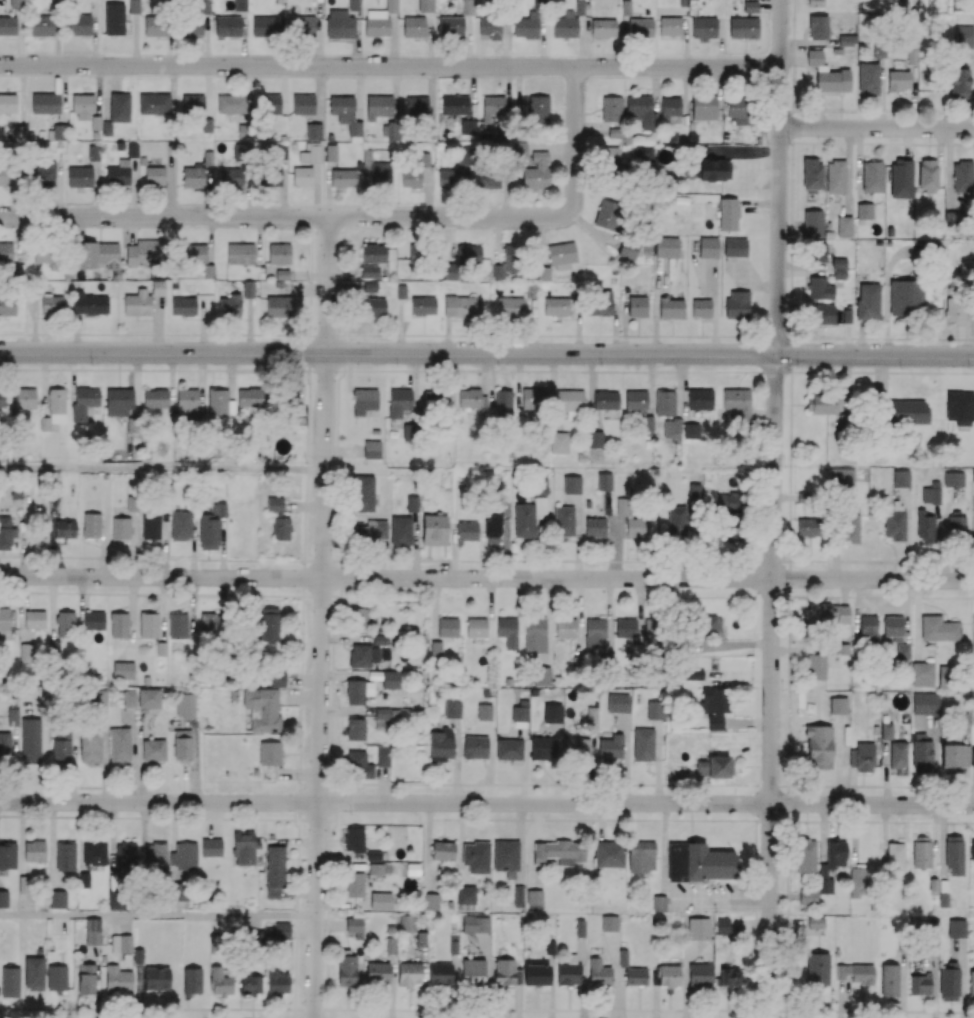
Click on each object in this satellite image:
building: (750, 6)
building: (743, 27)
road: (134, 39)
road: (93, 40)
road: (684, 42)
road: (719, 42)
road: (390, 67)
road: (283, 85)
road: (655, 89)
road: (684, 90)
road: (207, 91)
road: (358, 92)
road: (395, 93)
road: (63, 94)
road: (318, 94)
road: (430, 94)
road: (21, 95)
road: (590, 128)
road: (877, 128)
building: (962, 175)
building: (835, 176)
building: (871, 176)
road: (779, 177)
road: (358, 217)
building: (812, 222)
building: (843, 226)
road: (329, 285)
road: (487, 353)
road: (163, 470)
road: (487, 578)
road: (321, 685)
road: (771, 686)
road: (487, 803)
road: (158, 916)
building: (33, 973)

